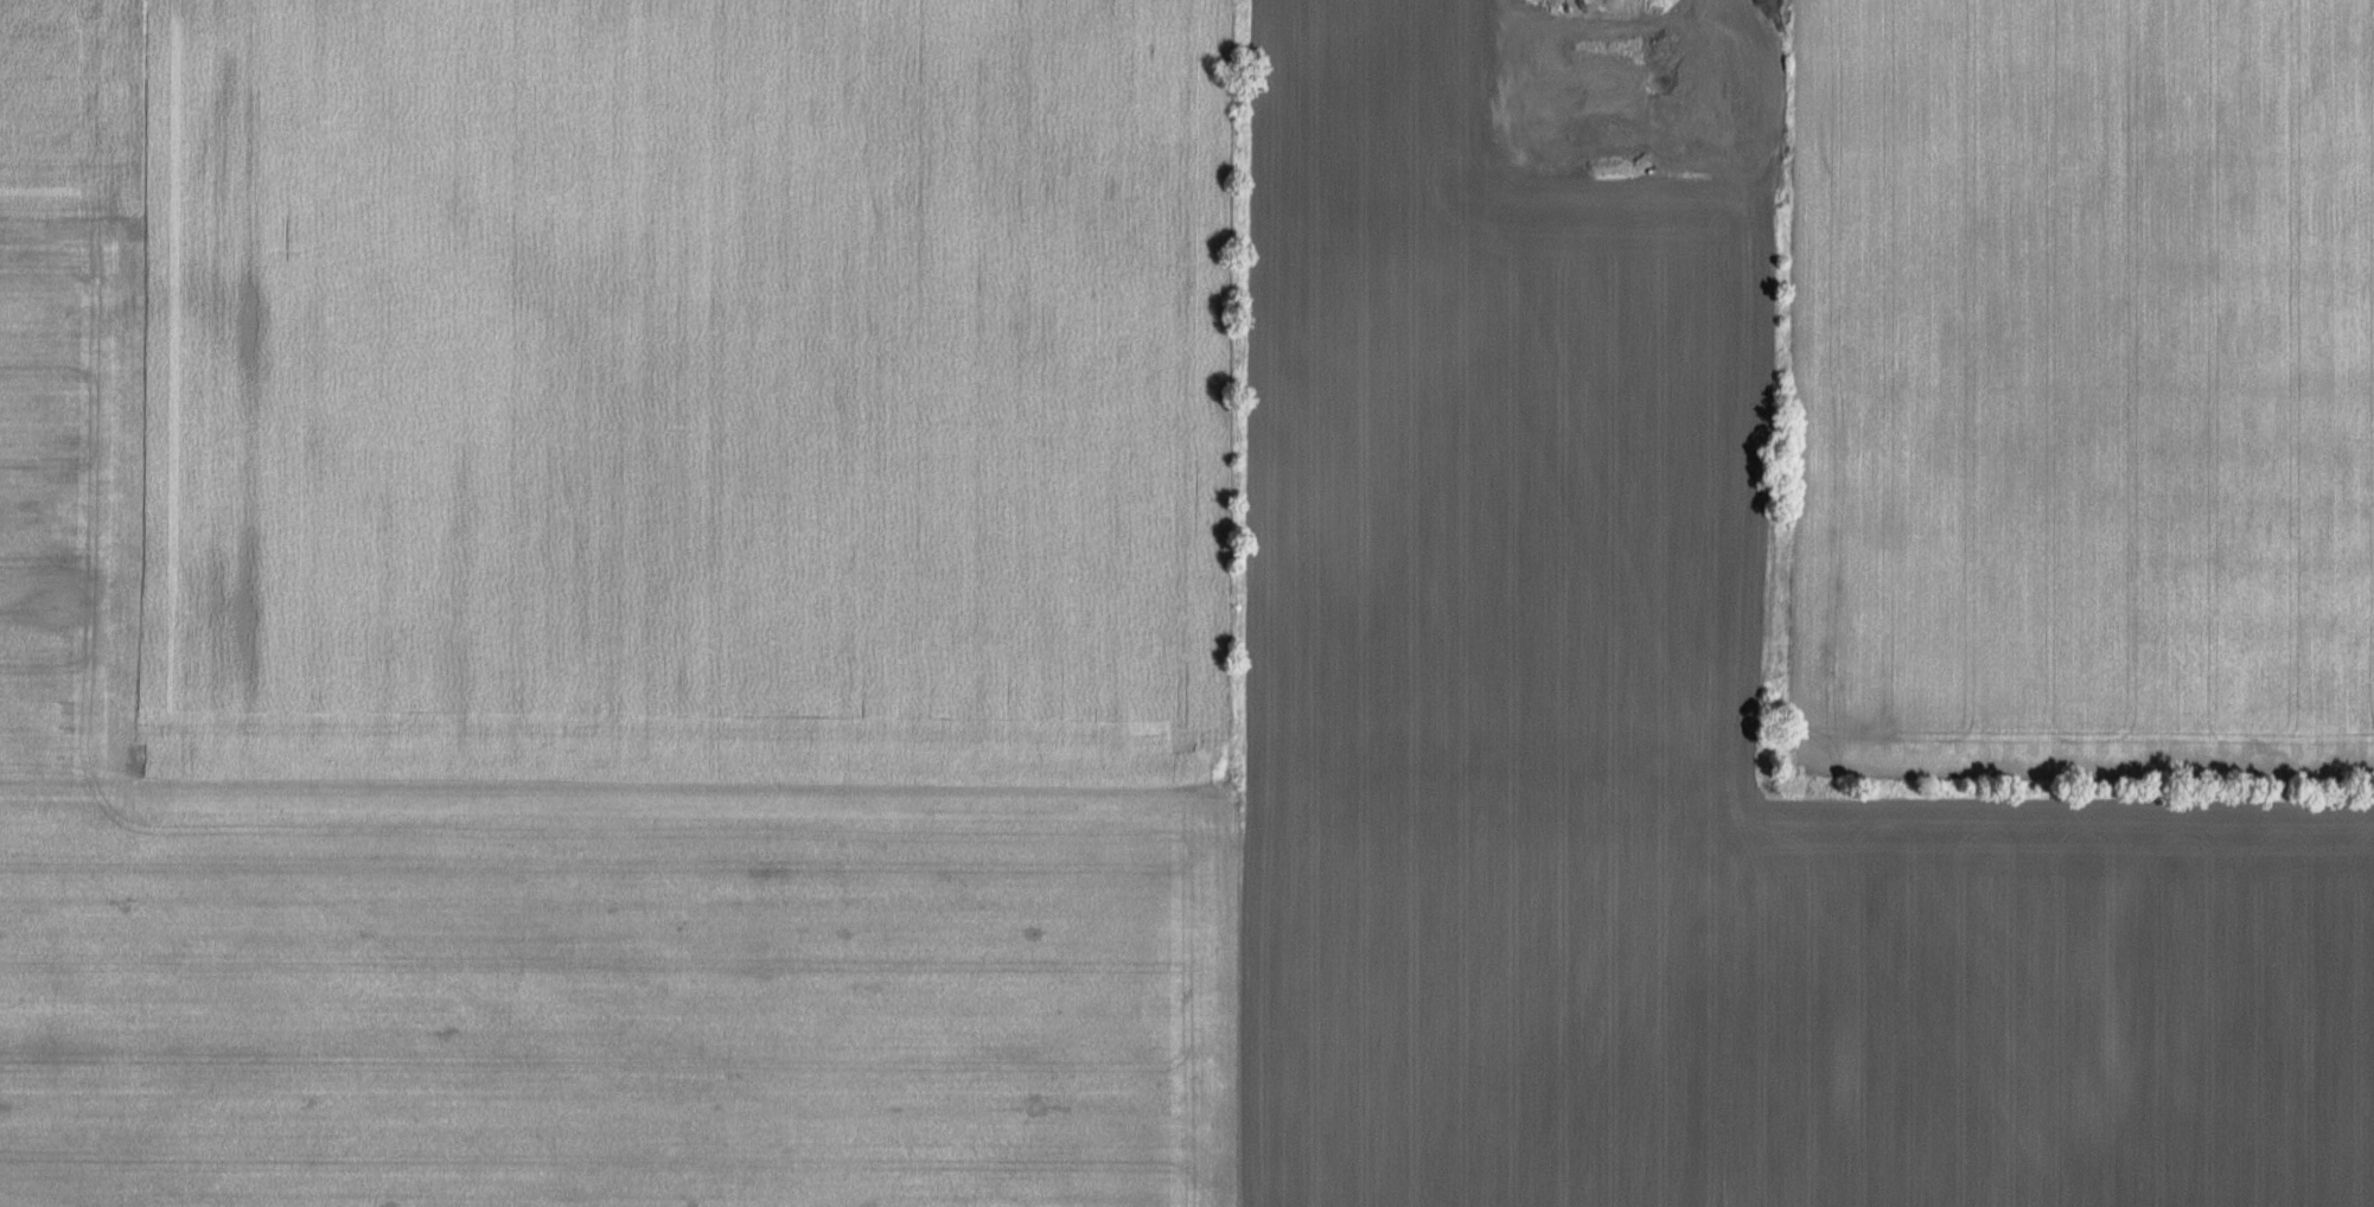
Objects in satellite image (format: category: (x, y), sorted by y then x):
building: (1538, 5)

